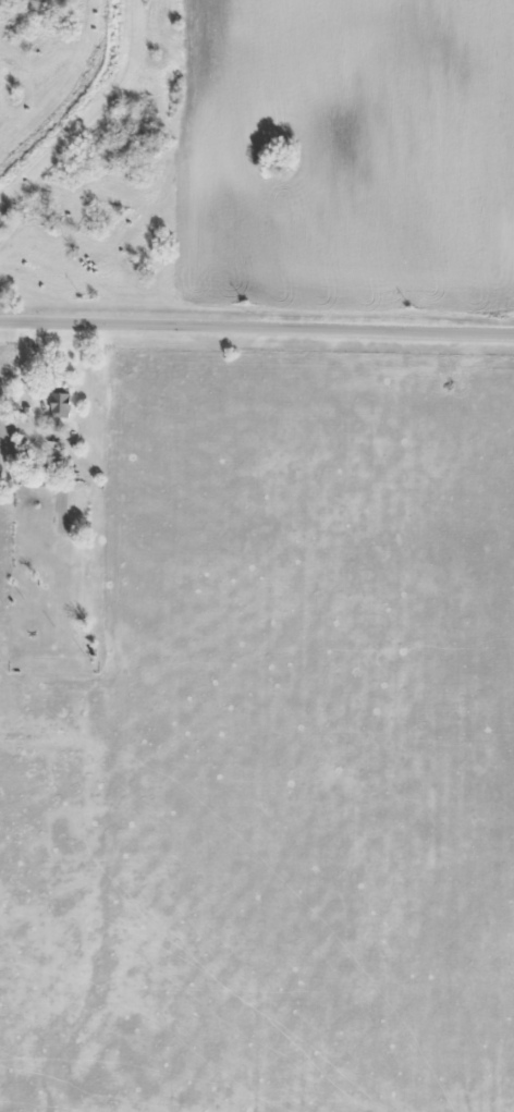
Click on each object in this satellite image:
road: (257, 330)
building: (56, 403)
building: (56, 465)

